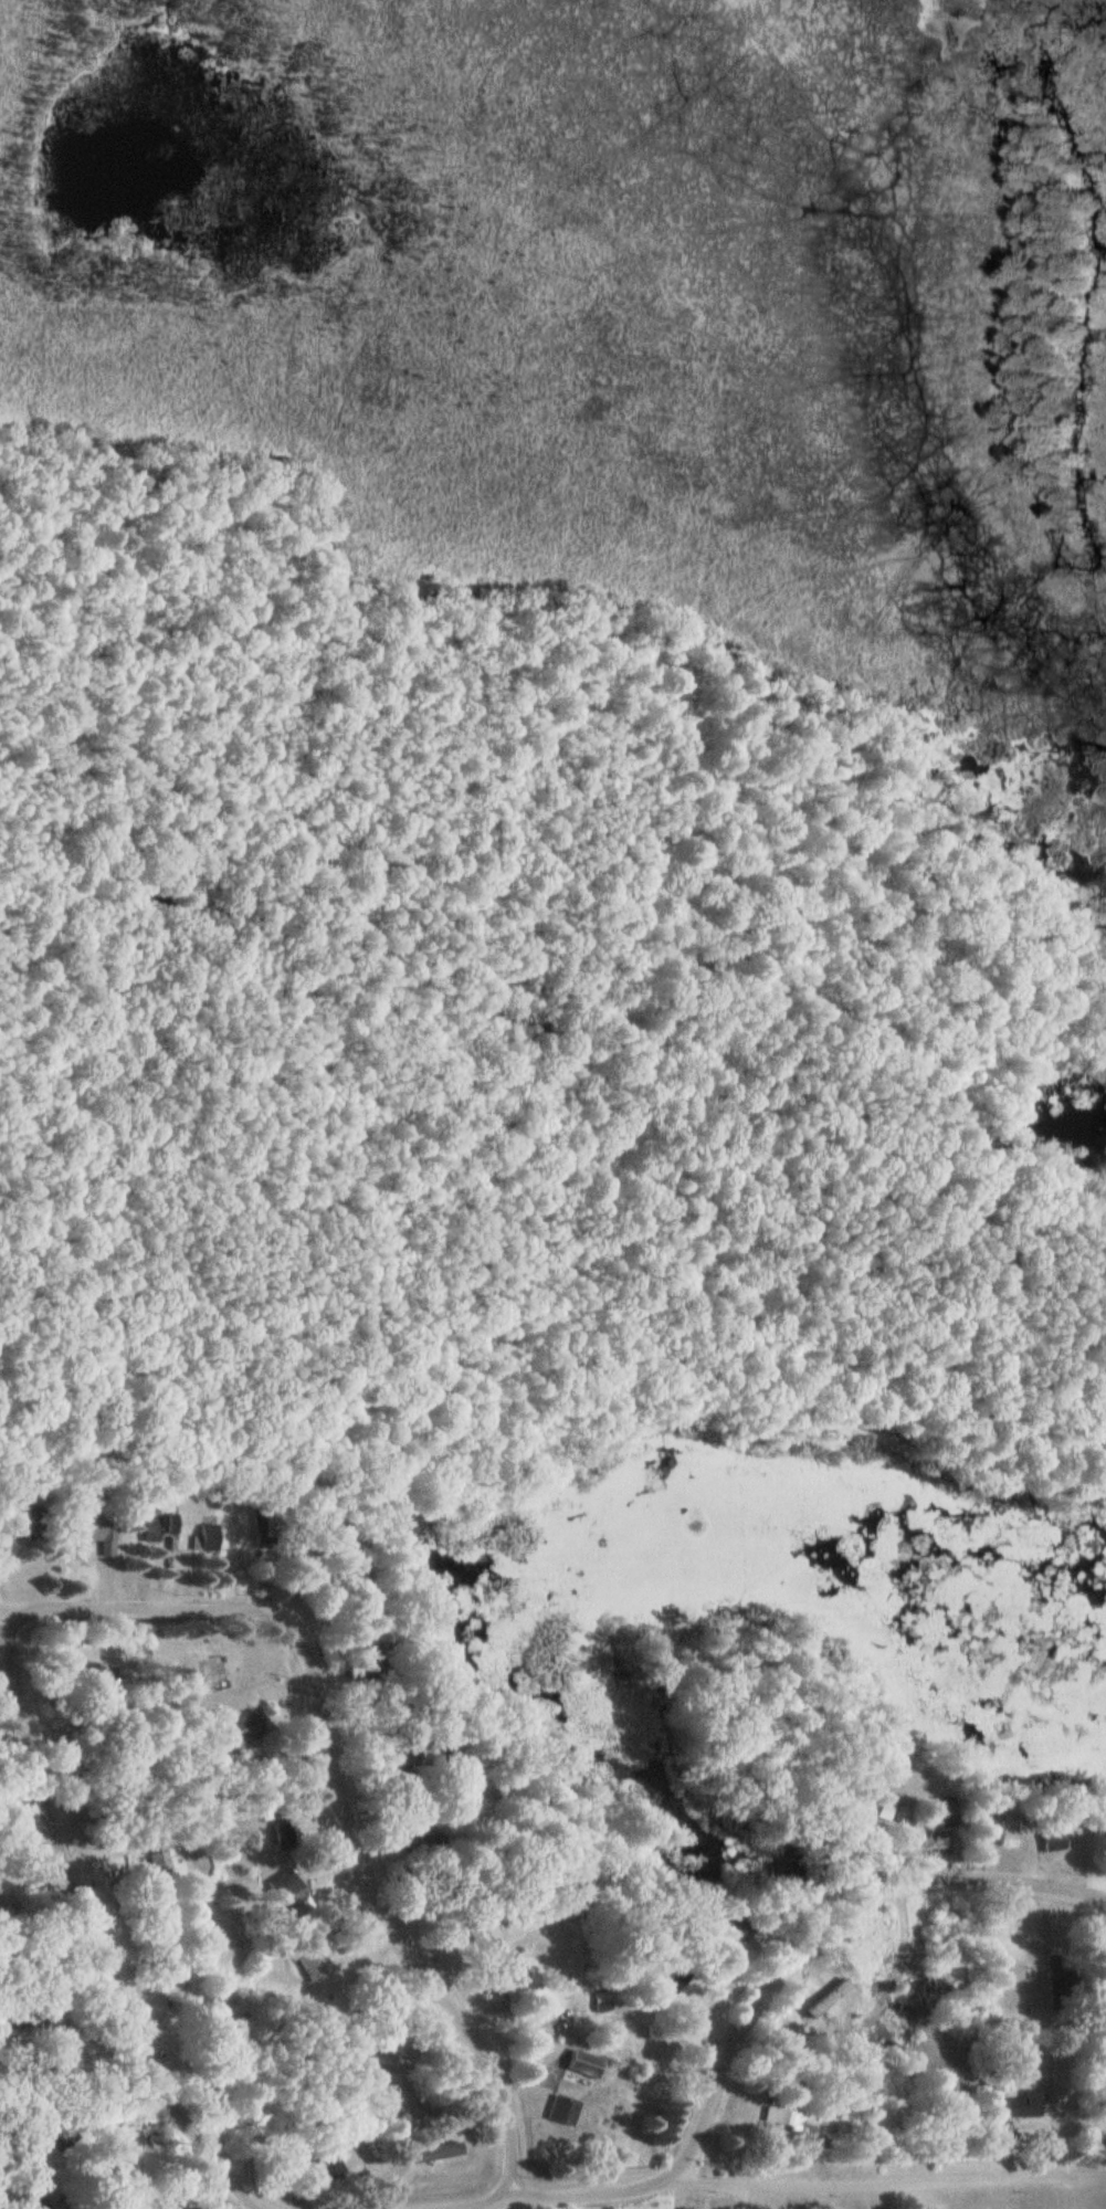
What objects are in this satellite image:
building: (101, 1528)
building: (154, 1529)
building: (210, 1537)
road: (3, 1603)
road: (80, 1610)
building: (873, 1803)
building: (938, 1812)
building: (284, 1832)
building: (1043, 1835)
building: (1001, 1837)
road: (368, 1853)
building: (287, 1889)
road: (94, 1929)
building: (314, 1961)
building: (838, 1995)
road: (751, 2017)
building: (588, 2063)
building: (1019, 2104)
building: (565, 2107)
building: (787, 2116)
building: (435, 2153)
building: (328, 2165)
road: (891, 2181)

